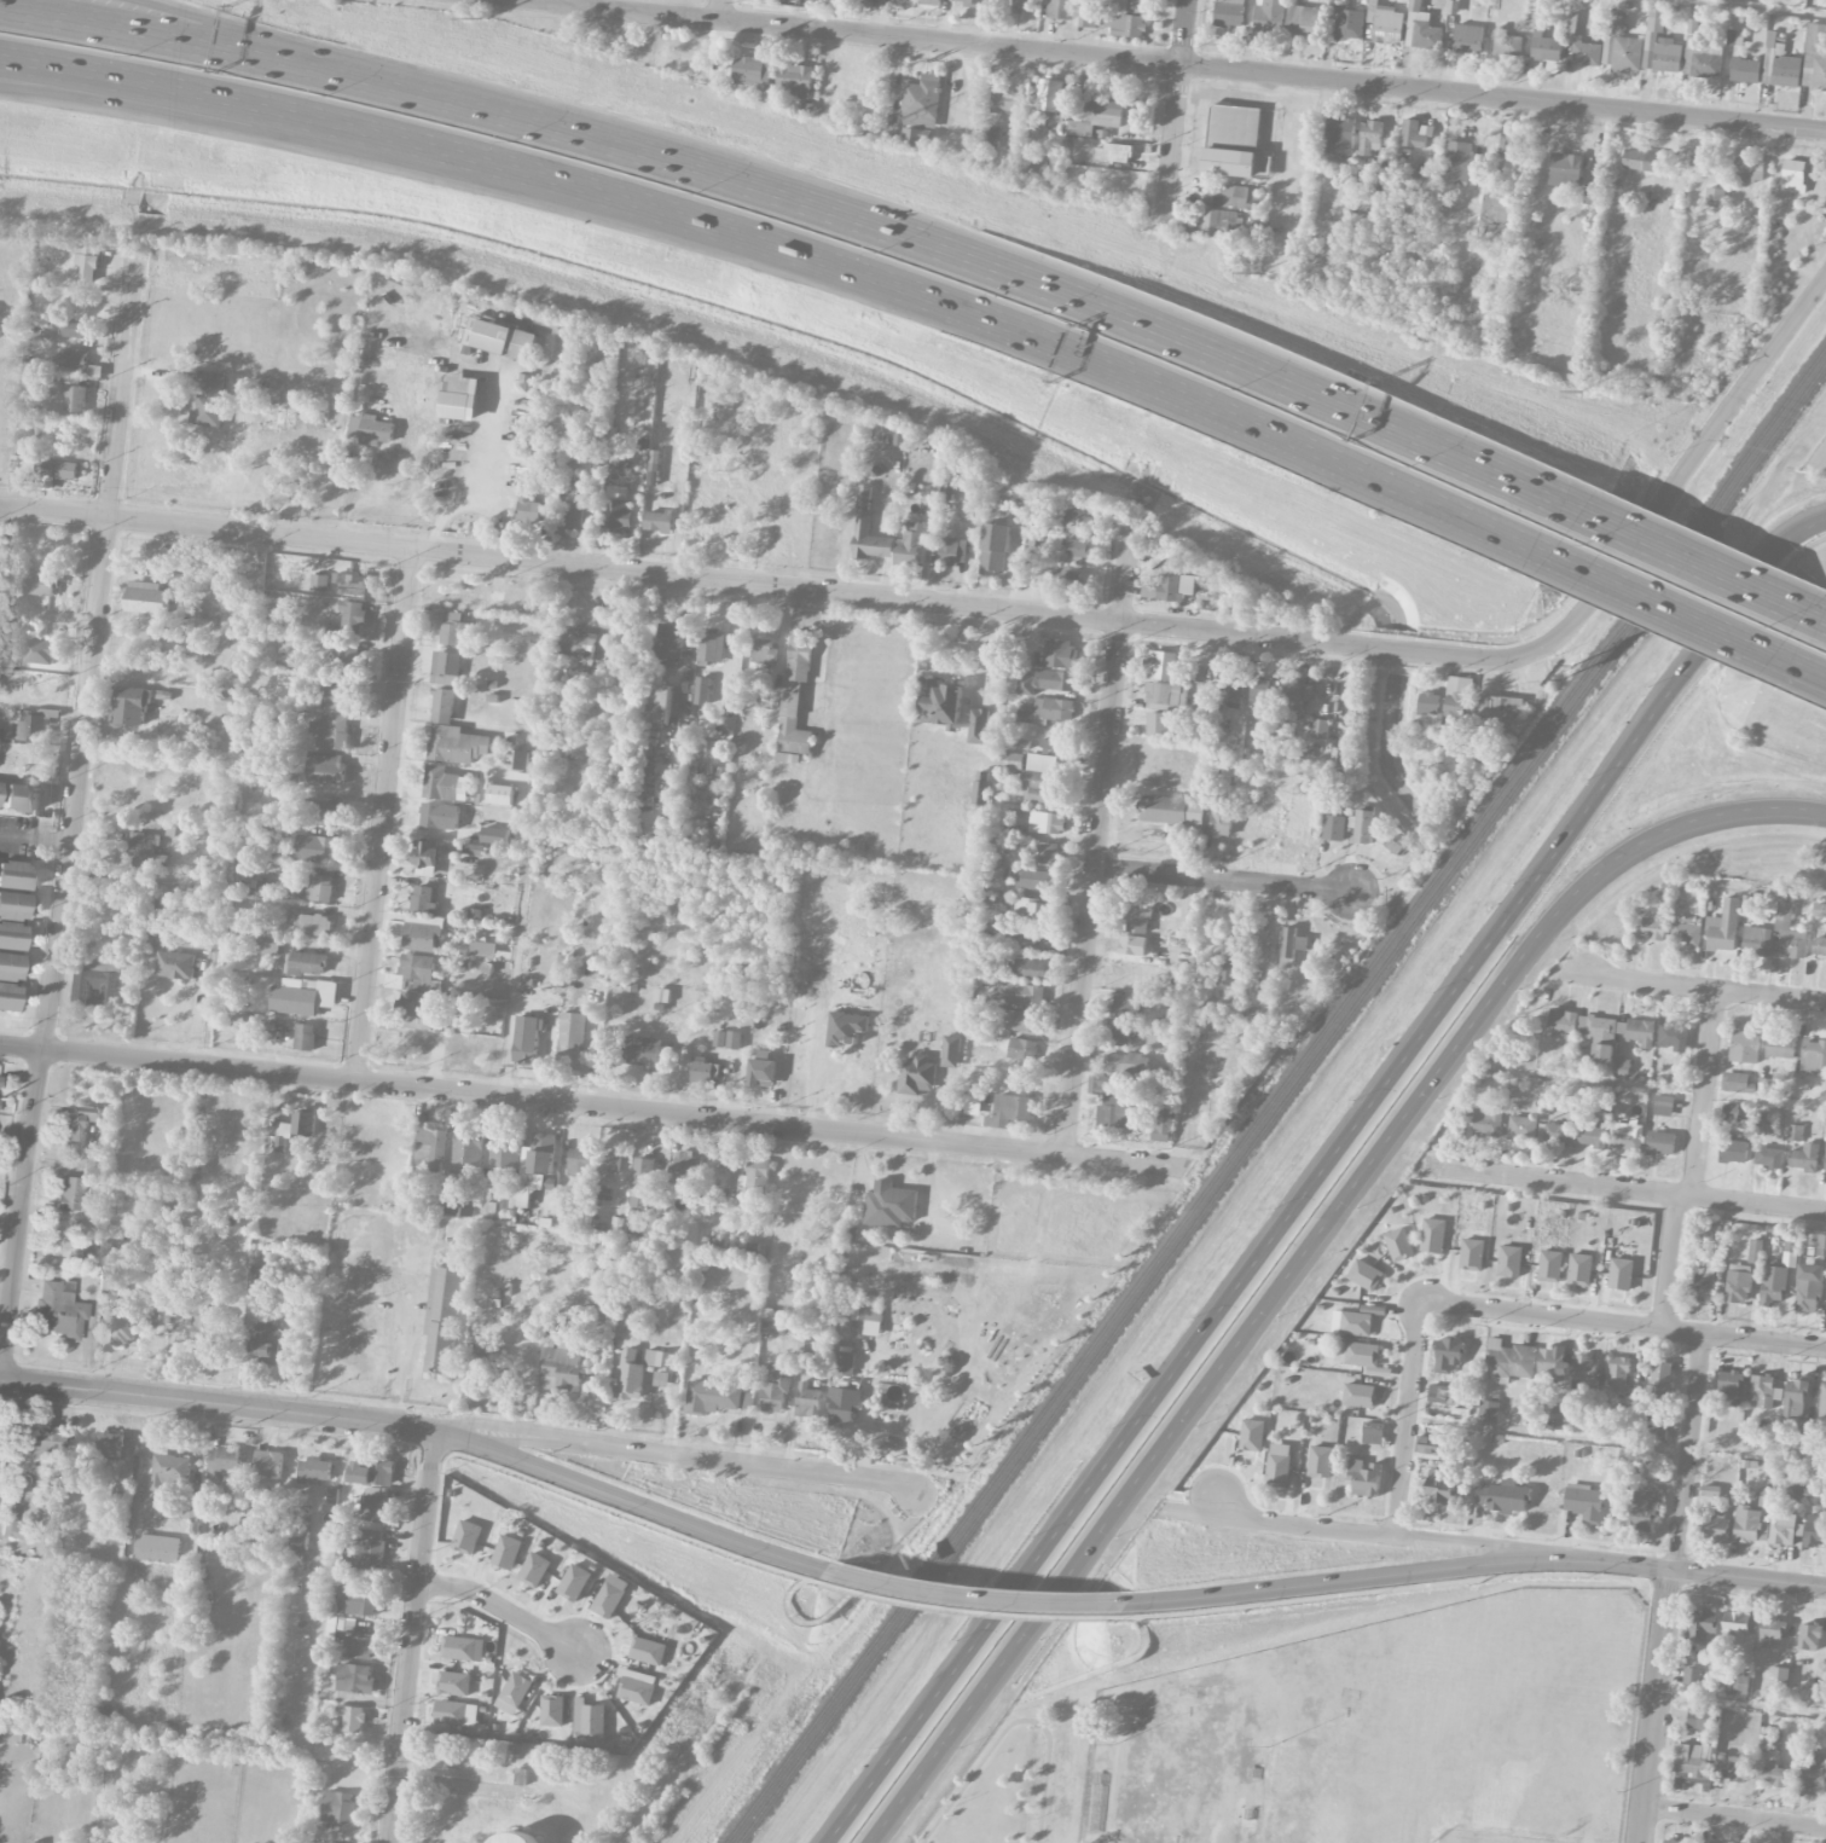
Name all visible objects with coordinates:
building: (903, 0)
building: (1335, 0)
building: (931, 2)
building: (970, 2)
building: (1131, 4)
building: (1022, 5)
building: (1061, 8)
road: (1734, 8)
road: (719, 11)
building: (1229, 13)
building: (1270, 16)
building: (1088, 18)
power tower: (483, 21)
building: (1304, 21)
building: (1386, 23)
building: (1349, 24)
building: (1126, 25)
building: (1421, 29)
road: (1186, 33)
road: (260, 35)
building: (1734, 37)
road: (193, 39)
building: (1468, 39)
building: (1507, 42)
building: (1660, 44)
building: (1621, 46)
building: (1546, 47)
building: (1587, 53)
building: (1815, 57)
building: (1702, 59)
road: (1167, 63)
building: (1781, 63)
building: (752, 68)
building: (1745, 70)
building: (795, 80)
building: (1050, 95)
building: (1005, 100)
road: (175, 110)
building: (920, 110)
building: (1099, 115)
building: (1415, 133)
power tower: (864, 137)
building: (991, 137)
building: (1370, 137)
building: (1339, 138)
building: (1506, 140)
building: (1235, 143)
road: (1173, 149)
building: (1640, 160)
building: (1456, 161)
building: (1565, 169)
building: (1749, 169)
building: (1049, 170)
building: (1793, 176)
building: (1592, 195)
building: (1237, 197)
building: (1715, 197)
building: (1495, 214)
building: (1217, 222)
road: (793, 255)
building: (87, 262)
road: (987, 265)
power tower: (1258, 278)
building: (79, 329)
building: (499, 338)
building: (74, 358)
power tower: (1581, 394)
building: (458, 398)
building: (75, 399)
building: (210, 402)
building: (370, 429)
road: (1820, 460)
building: (546, 464)
building: (618, 466)
road: (1682, 466)
road: (1820, 469)
building: (58, 471)
building: (679, 473)
building: (864, 495)
building: (531, 508)
building: (570, 514)
building: (615, 515)
building: (659, 521)
building: (870, 539)
building: (1028, 543)
building: (910, 545)
building: (1074, 546)
building: (995, 549)
building: (951, 551)
road: (1688, 563)
building: (1071, 576)
building: (186, 579)
building: (319, 583)
building: (42, 584)
building: (350, 584)
road: (765, 584)
building: (1175, 586)
building: (1149, 592)
building: (146, 598)
road: (1657, 609)
building: (352, 616)
road: (1818, 621)
building: (456, 628)
building: (668, 642)
building: (579, 644)
building: (711, 645)
building: (760, 650)
road: (821, 650)
building: (1060, 653)
building: (350, 659)
building: (1163, 665)
building: (447, 666)
road: (1796, 670)
road: (1796, 672)
building: (1047, 682)
building: (1233, 688)
building: (702, 690)
building: (1297, 690)
building: (1259, 694)
building: (1165, 695)
building: (336, 697)
building: (794, 699)
building: (227, 700)
building: (940, 702)
building: (659, 703)
building: (1431, 703)
building: (132, 705)
building: (444, 706)
road: (1654, 709)
building: (1048, 711)
building: (1456, 711)
building: (1499, 712)
building: (33, 724)
building: (1158, 724)
building: (978, 725)
building: (1320, 728)
building: (331, 731)
building: (1055, 742)
building: (457, 744)
building: (518, 759)
building: (1009, 760)
building: (324, 767)
building: (1038, 778)
building: (445, 784)
building: (980, 788)
building: (500, 794)
building: (21, 798)
building: (327, 810)
building: (1175, 811)
road: (74, 816)
road: (384, 816)
building: (439, 816)
building: (1222, 821)
building: (1045, 822)
building: (1334, 827)
building: (1364, 827)
road: (1096, 835)
road: (25, 836)
road: (1659, 839)
road: (62, 840)
building: (315, 848)
building: (146, 851)
building: (1047, 852)
building: (427, 858)
building: (15, 875)
road: (1223, 879)
building: (1037, 880)
building: (318, 888)
building: (423, 899)
building: (13, 905)
building: (1034, 909)
building: (1820, 910)
building: (1137, 920)
building: (312, 925)
building: (1723, 927)
building: (1651, 928)
building: (1789, 933)
building: (1686, 934)
building: (11, 935)
building: (1756, 940)
building: (1293, 943)
building: (1132, 945)
building: (268, 946)
building: (1819, 947)
building: (483, 949)
building: (305, 963)
building: (1229, 963)
building: (175, 964)
building: (10, 966)
building: (1030, 969)
building: (412, 970)
building: (98, 983)
road: (1702, 987)
building: (1021, 993)
building: (8, 996)
building: (303, 998)
building: (1125, 1007)
building: (416, 1009)
building: (1016, 1022)
building: (1563, 1022)
road: (509, 1026)
building: (845, 1027)
building: (1598, 1028)
building: (1641, 1032)
building: (1121, 1034)
building: (1673, 1034)
building: (306, 1037)
building: (572, 1038)
building: (727, 1039)
building: (527, 1041)
building: (1744, 1047)
building: (1780, 1047)
building: (1021, 1049)
building: (643, 1051)
building: (950, 1051)
building: (1602, 1054)
building: (1813, 1057)
building: (1126, 1065)
building: (1622, 1065)
building: (761, 1070)
building: (701, 1071)
building: (916, 1076)
building: (1021, 1079)
building: (0, 1080)
building: (1734, 1082)
building: (1764, 1085)
road: (1703, 1093)
railway: (1276, 1095)
building: (1114, 1103)
railway: (1282, 1103)
building: (973, 1106)
building: (1663, 1106)
road: (595, 1107)
building: (1009, 1111)
building: (1729, 1113)
building: (1486, 1122)
building: (80, 1123)
building: (303, 1123)
building: (1161, 1123)
building: (1521, 1129)
building: (1795, 1132)
building: (1554, 1134)
building: (283, 1135)
building: (1592, 1135)
building: (431, 1143)
building: (1660, 1143)
building: (468, 1147)
building: (1733, 1151)
building: (543, 1153)
building: (504, 1154)
building: (1768, 1157)
building: (1804, 1158)
building: (580, 1163)
building: (609, 1164)
building: (686, 1169)
building: (754, 1181)
building: (643, 1182)
building: (526, 1183)
road: (1622, 1188)
building: (69, 1193)
building: (889, 1205)
building: (459, 1206)
building: (1433, 1235)
building: (1398, 1244)
building: (1821, 1245)
building: (1755, 1251)
building: (89, 1254)
building: (1472, 1254)
building: (1509, 1260)
road: (1669, 1263)
building: (1550, 1265)
building: (1579, 1269)
building: (1621, 1274)
building: (1364, 1275)
building: (259, 1280)
building: (112, 1282)
building: (1738, 1283)
building: (1773, 1285)
building: (1704, 1287)
building: (1808, 1287)
building: (57, 1310)
building: (869, 1316)
building: (442, 1319)
building: (1356, 1323)
road: (1622, 1326)
building: (124, 1327)
building: (773, 1327)
building: (207, 1328)
building: (266, 1344)
building: (1448, 1354)
building: (480, 1356)
building: (659, 1358)
building: (1508, 1361)
building: (845, 1363)
building: (1552, 1363)
building: (561, 1368)
building: (1587, 1370)
building: (1618, 1374)
building: (630, 1377)
building: (1659, 1381)
road: (1165, 1384)
building: (1729, 1386)
building: (773, 1389)
building: (1763, 1391)
road: (1198, 1393)
building: (1358, 1395)
building: (1440, 1395)
building: (712, 1397)
building: (807, 1401)
building: (1822, 1401)
building: (1797, 1406)
building: (844, 1407)
building: (1489, 1412)
building: (1555, 1416)
road: (1408, 1418)
road: (428, 1430)
building: (1373, 1432)
building: (1658, 1433)
building: (1252, 1435)
building: (36, 1443)
building: (110, 1445)
building: (1431, 1448)
road: (678, 1454)
building: (225, 1459)
building: (1320, 1461)
building: (268, 1464)
building: (1279, 1465)
building: (315, 1470)
building: (373, 1472)
building: (168, 1474)
building: (1364, 1477)
building: (1439, 1486)
building: (1503, 1497)
building: (1764, 1497)
building: (1583, 1502)
building: (375, 1503)
building: (192, 1506)
building: (1640, 1512)
building: (11, 1522)
building: (1747, 1524)
building: (1784, 1528)
building: (1717, 1529)
building: (1815, 1530)
road: (1401, 1535)
building: (466, 1536)
building: (300, 1540)
building: (157, 1548)
building: (365, 1549)
building: (506, 1552)
building: (534, 1570)
road: (1715, 1572)
road: (1357, 1578)
building: (574, 1582)
road: (1670, 1588)
road: (973, 1598)
building: (608, 1600)
building: (360, 1601)
road: (503, 1606)
building: (342, 1623)
building: (1700, 1624)
building: (1770, 1630)
building: (1740, 1632)
road: (413, 1636)
building: (1809, 1636)
building: (359, 1647)
building: (459, 1648)
building: (648, 1651)
building: (354, 1677)
building: (1692, 1677)
building: (1779, 1679)
building: (454, 1683)
building: (1741, 1683)
building: (636, 1686)
building: (514, 1693)
building: (552, 1710)
building: (456, 1712)
building: (1706, 1716)
building: (353, 1719)
building: (589, 1719)
building: (1692, 1766)
building: (1732, 1770)
building: (1769, 1770)
building: (1813, 1775)
park: (1026, 1779)
road: (457, 1786)
building: (337, 1807)
road: (1733, 1816)
building: (516, 1838)
building: (329, 1842)
building: (1675, 1842)

